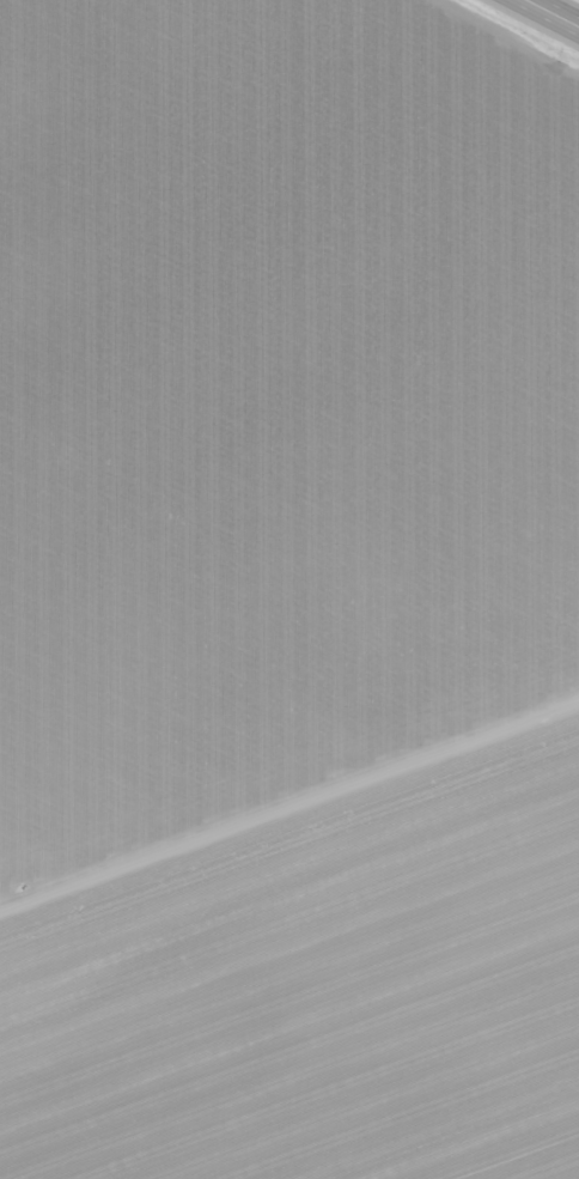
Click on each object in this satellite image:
road: (547, 16)
road: (289, 808)

